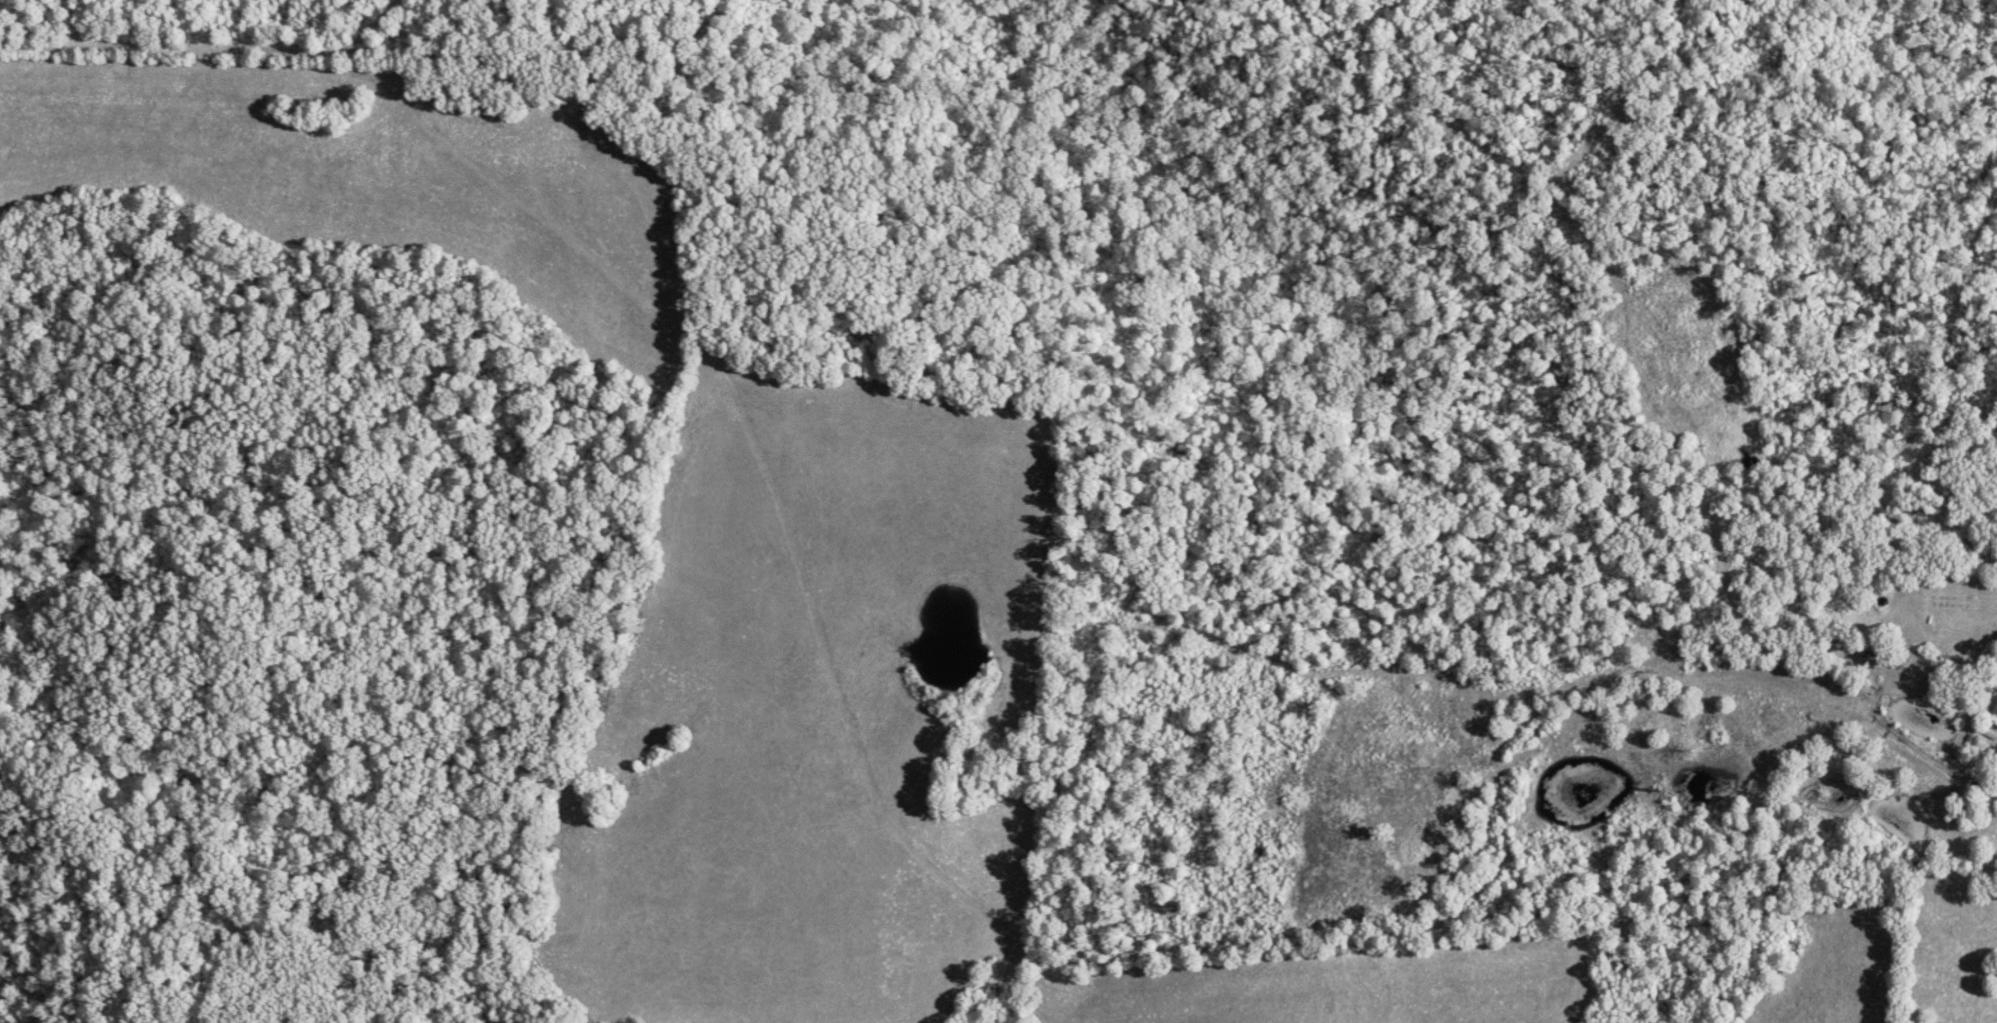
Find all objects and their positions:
building: (1993, 704)

